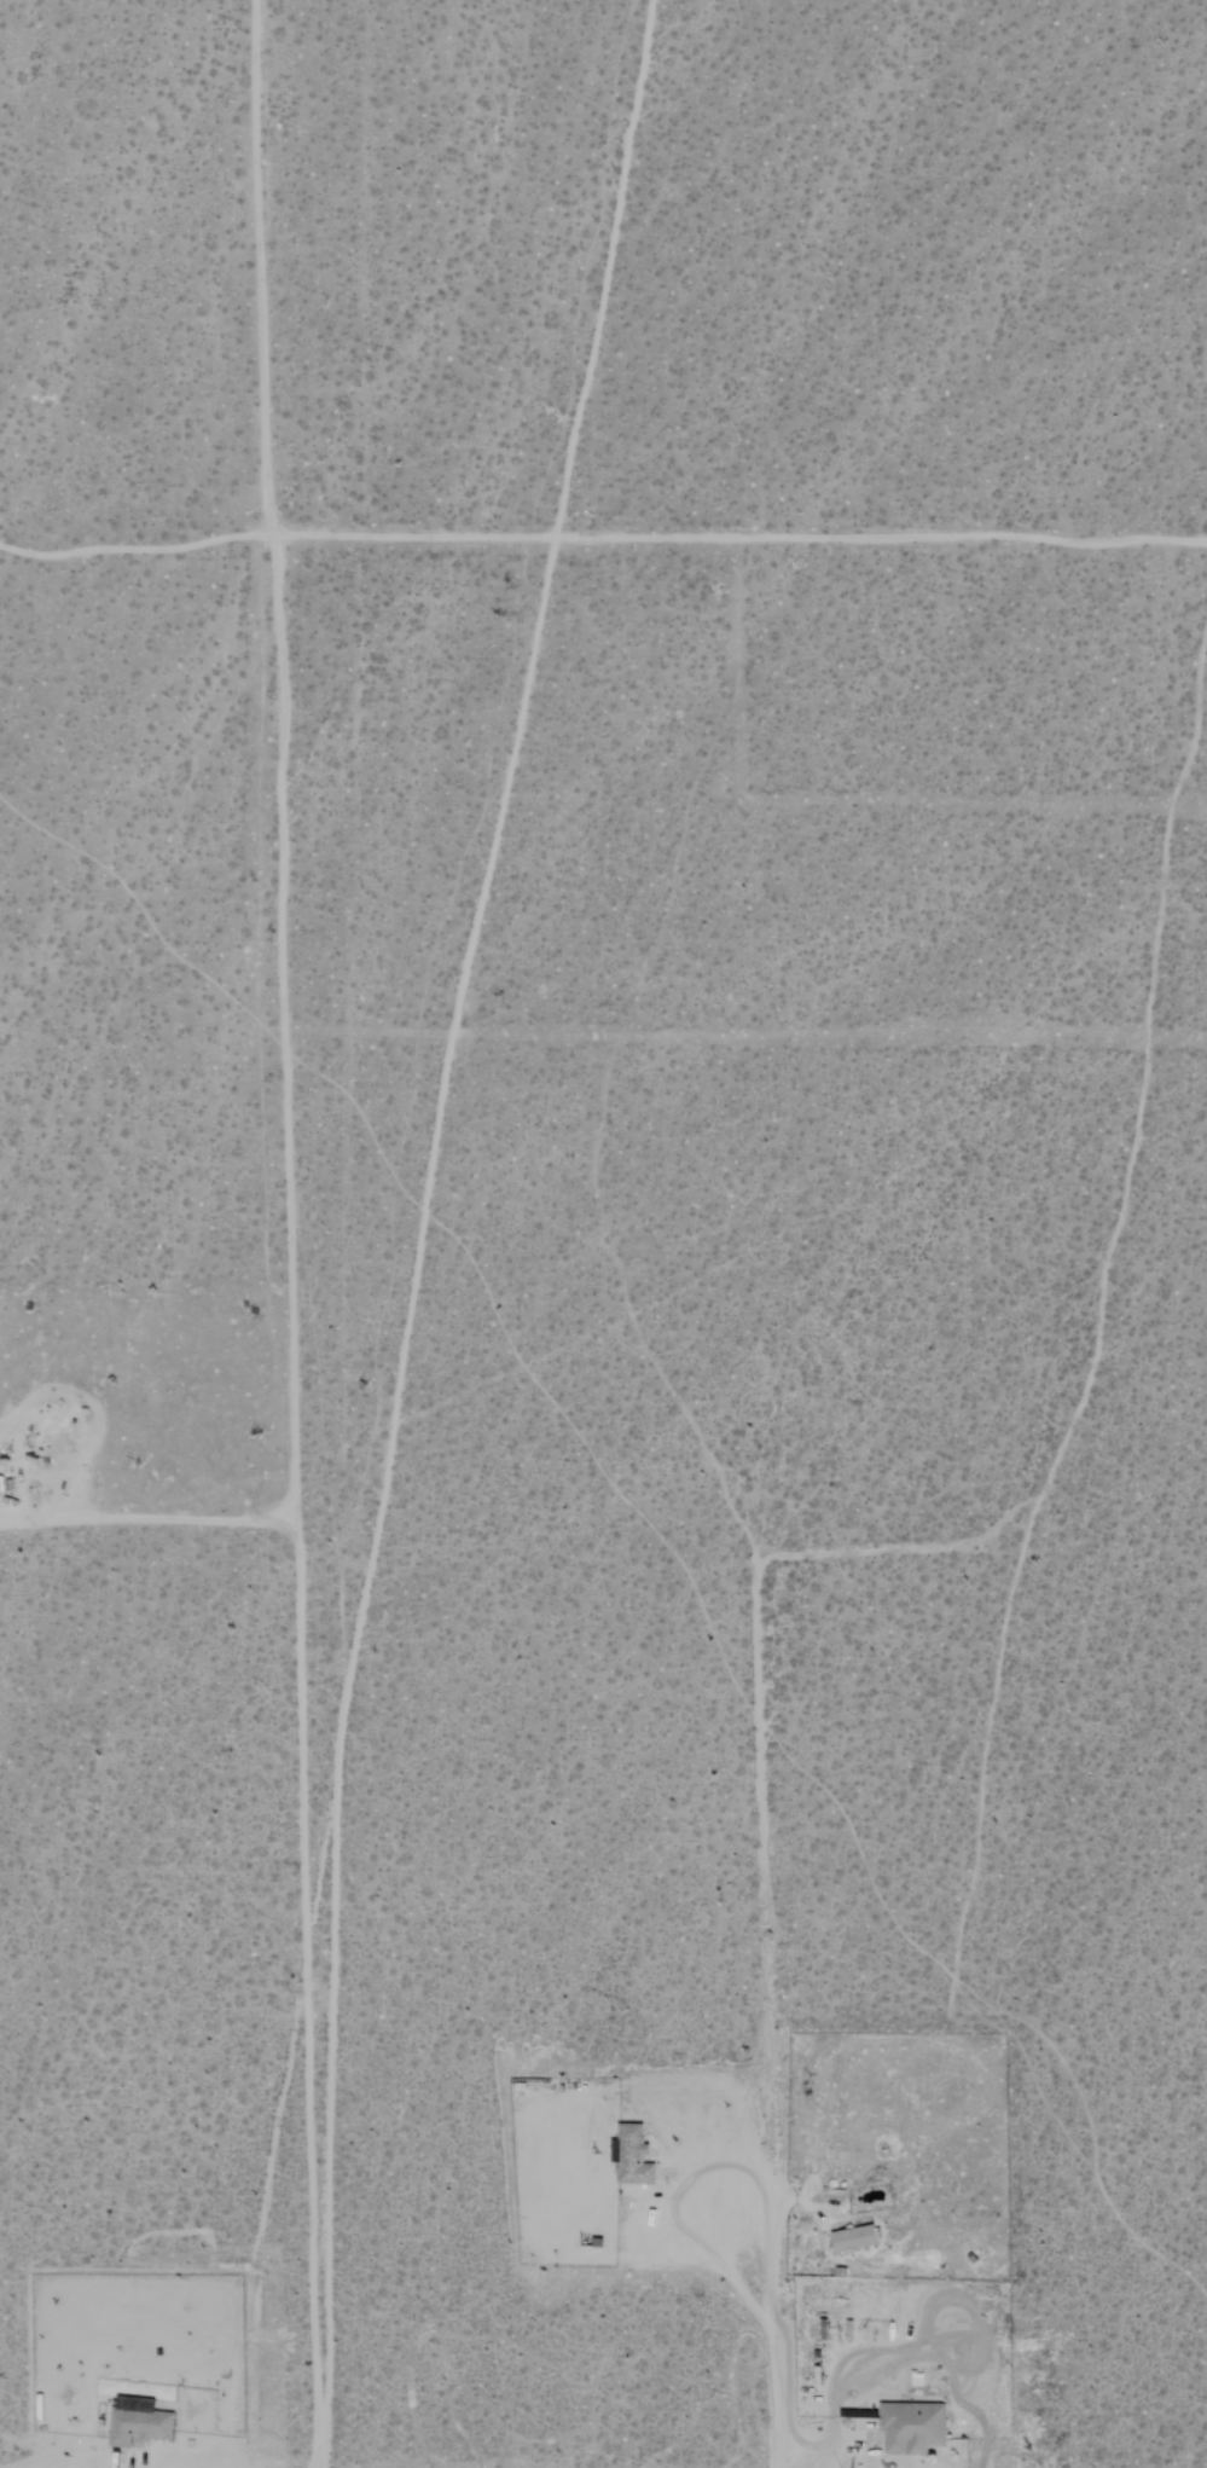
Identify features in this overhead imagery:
road: (738, 538)
road: (134, 546)
road: (280, 848)
road: (151, 1523)
road: (765, 2014)
road: (313, 2082)
building: (634, 2155)
road: (799, 2198)
building: (855, 2238)
road: (716, 2244)
building: (139, 2421)
building: (913, 2427)

